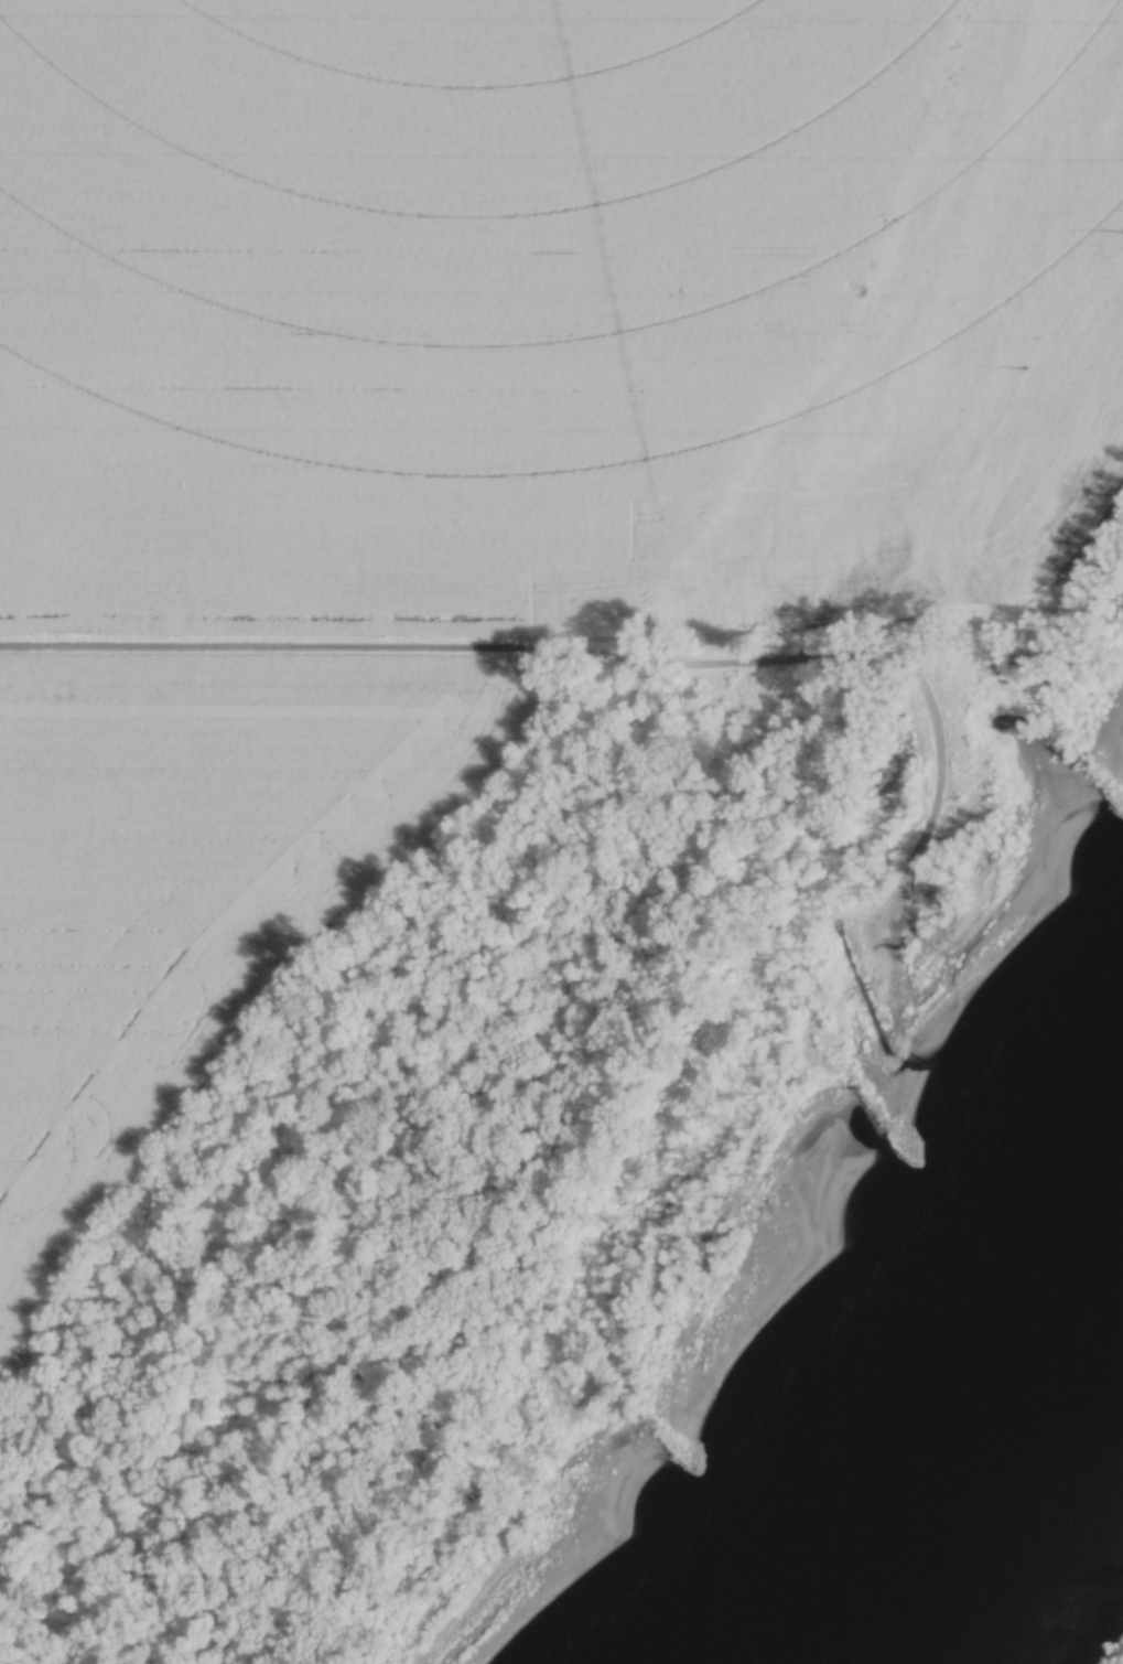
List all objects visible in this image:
crop: (544, 307)
crop: (196, 860)
river: (960, 1431)
river: (793, 1657)

